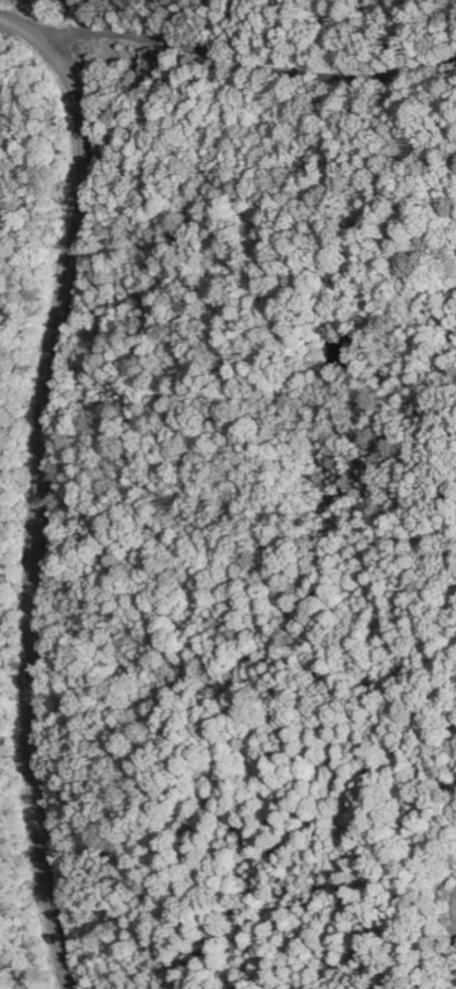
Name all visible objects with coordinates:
road: (43, 486)

